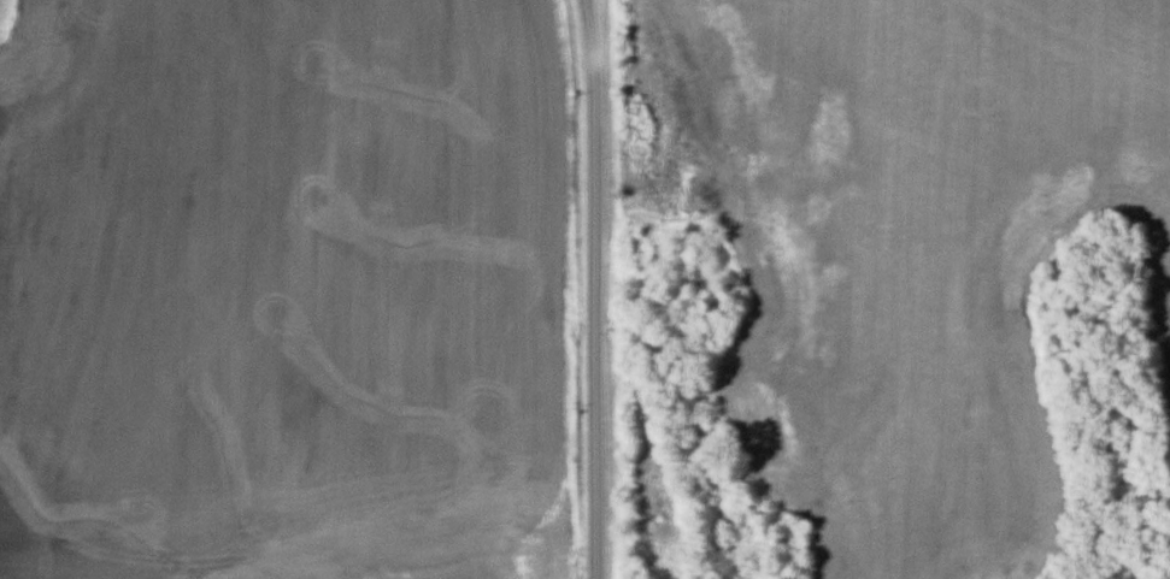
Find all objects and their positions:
road: (588, 18)
road: (595, 289)

